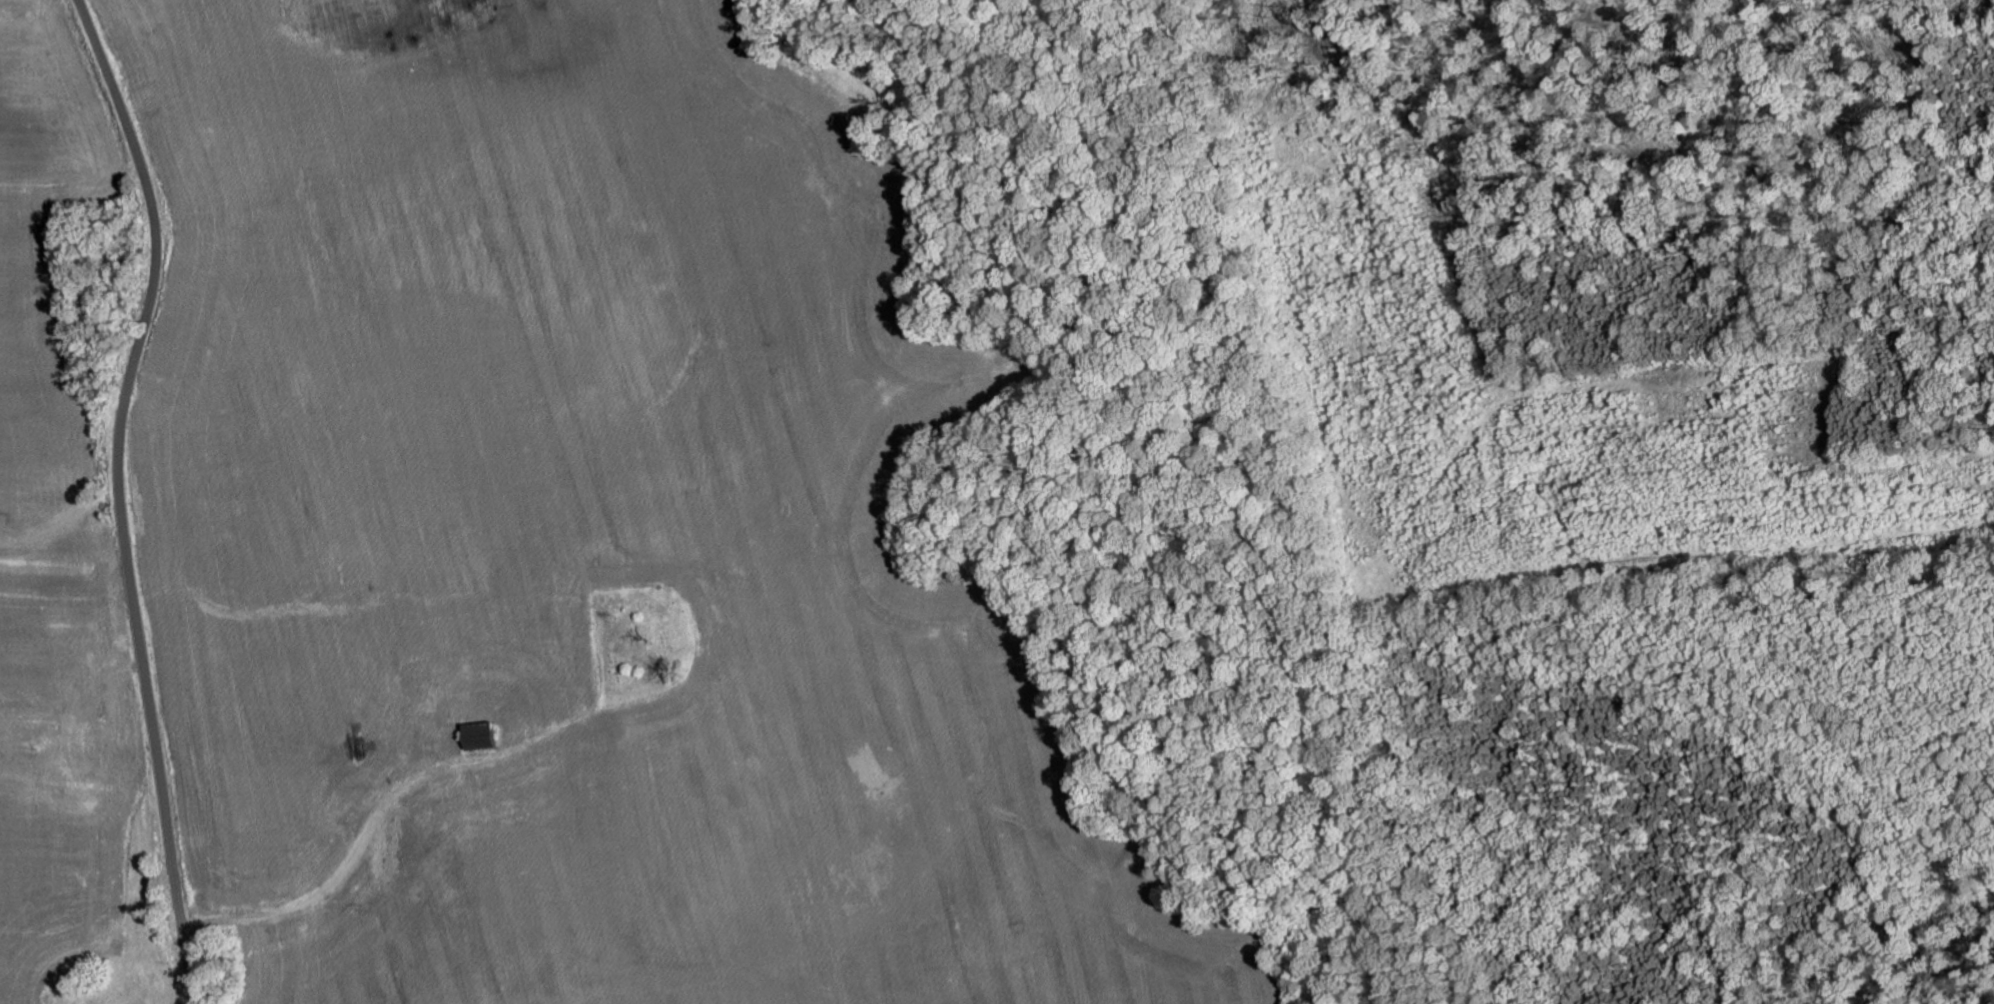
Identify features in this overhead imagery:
road: (117, 495)
park: (646, 639)
building: (485, 736)
road: (305, 866)

